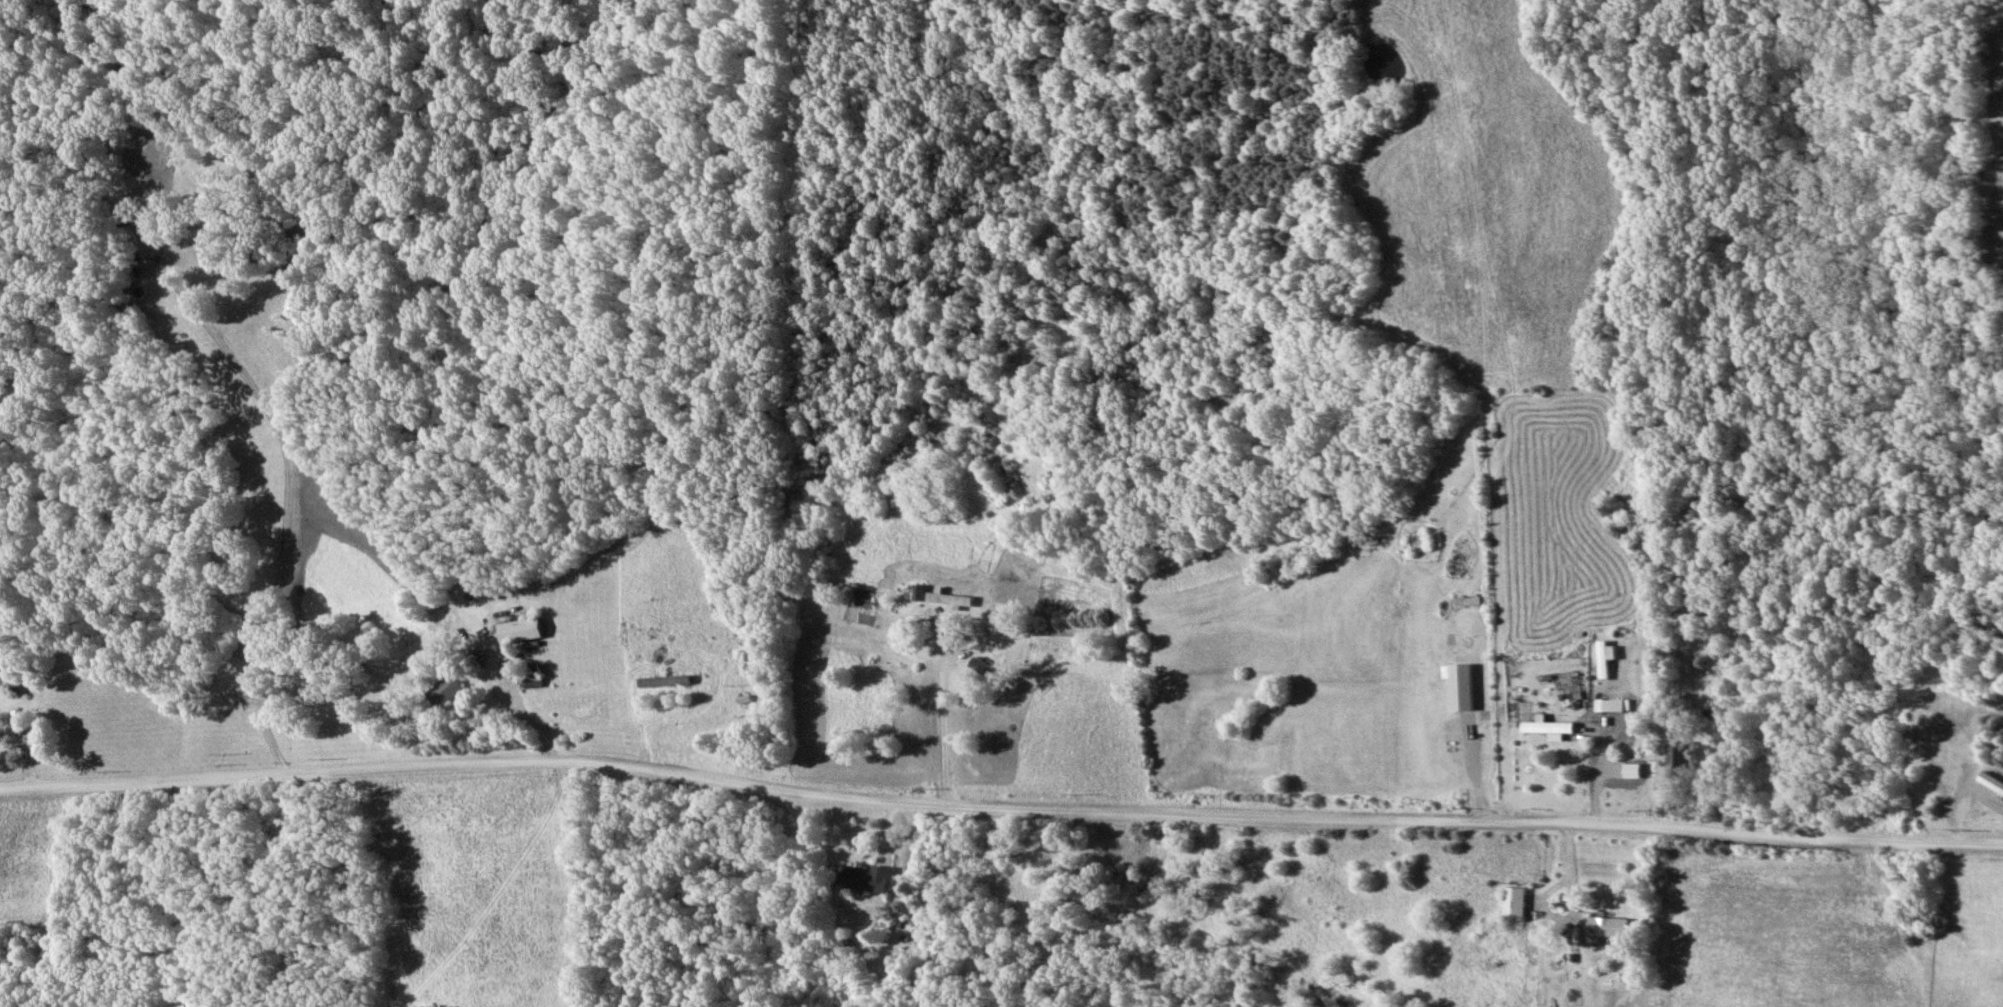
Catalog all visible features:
building: (918, 594)
building: (949, 600)
building: (520, 632)
building: (1603, 658)
building: (534, 676)
building: (667, 681)
building: (1460, 685)
building: (445, 691)
building: (1614, 705)
road: (941, 726)
building: (1552, 729)
building: (0, 735)
building: (1676, 756)
building: (1638, 769)
road: (281, 774)
road: (754, 785)
road: (1474, 818)
building: (863, 879)
building: (1515, 903)
building: (1608, 927)

